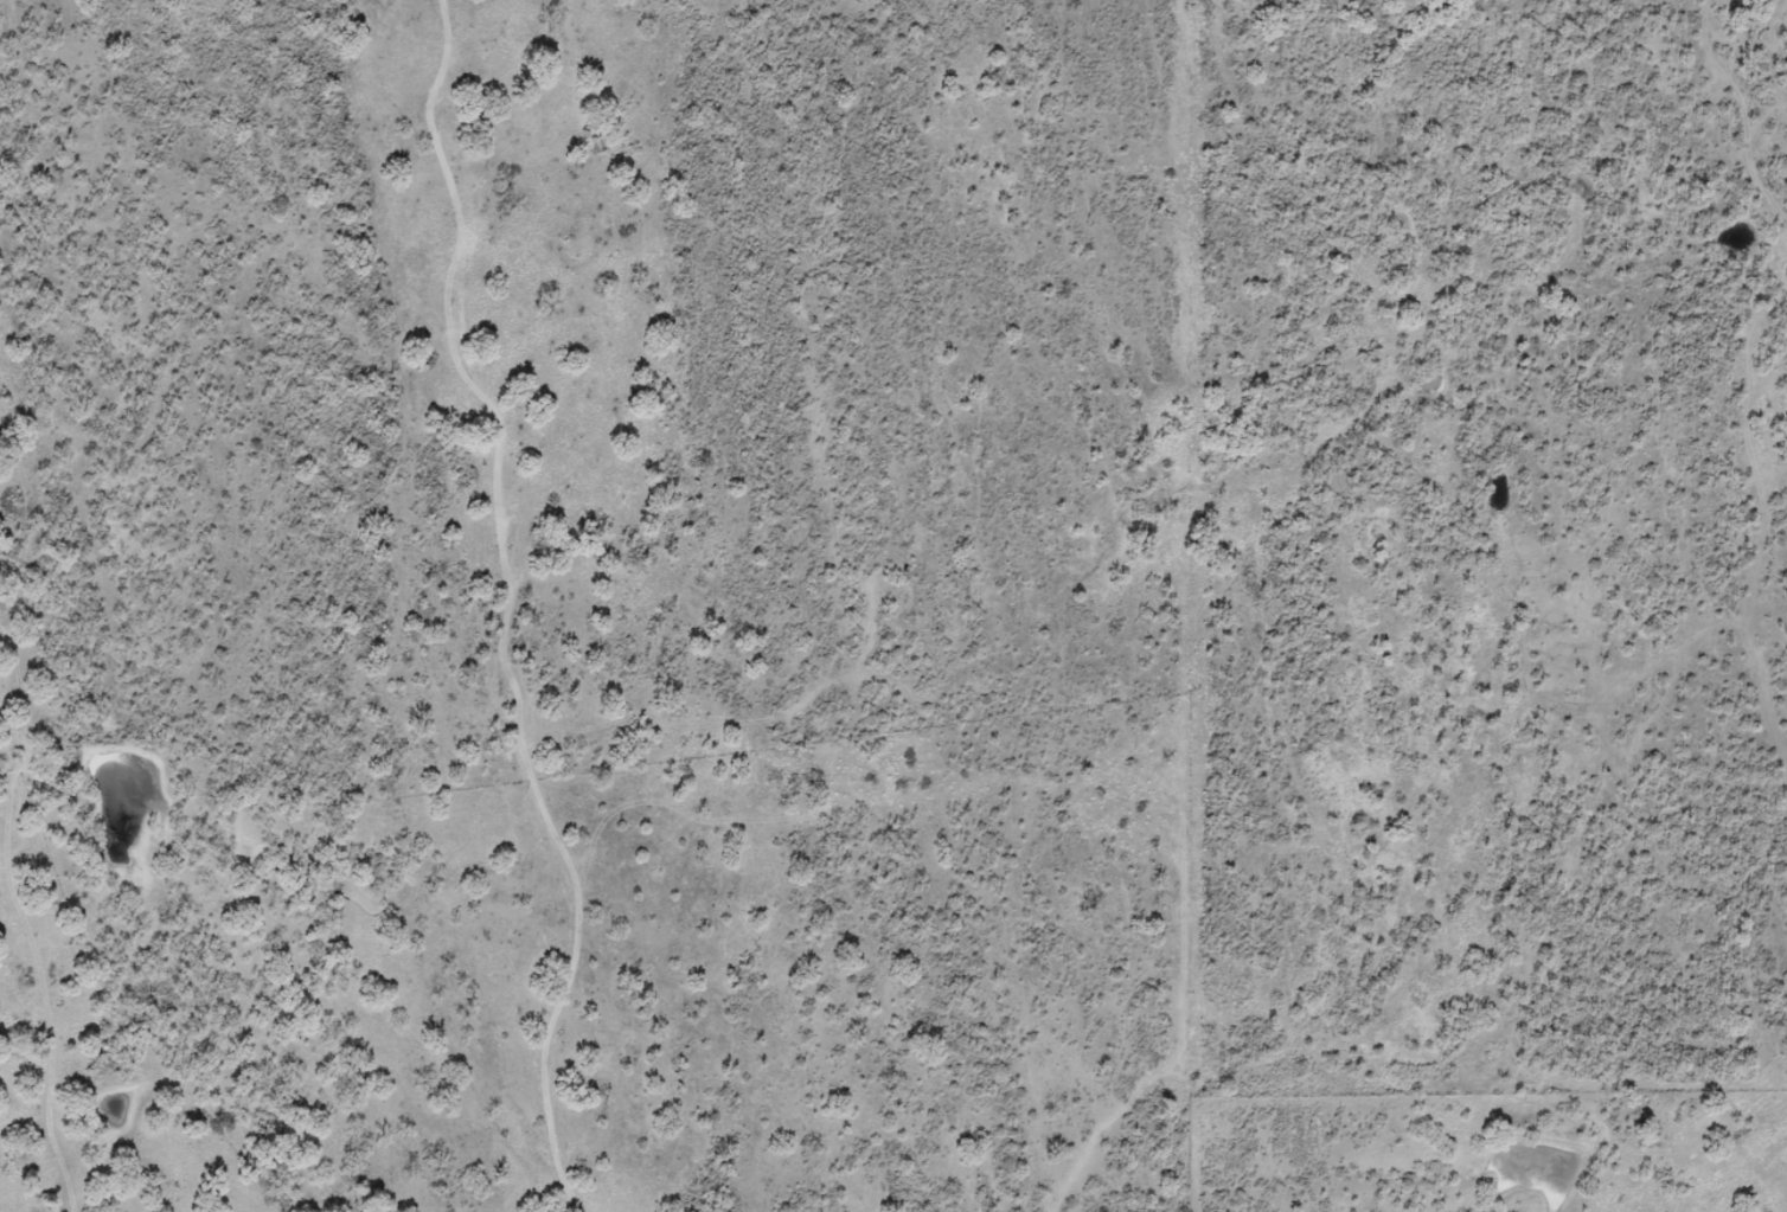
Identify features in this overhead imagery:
road: (499, 615)

